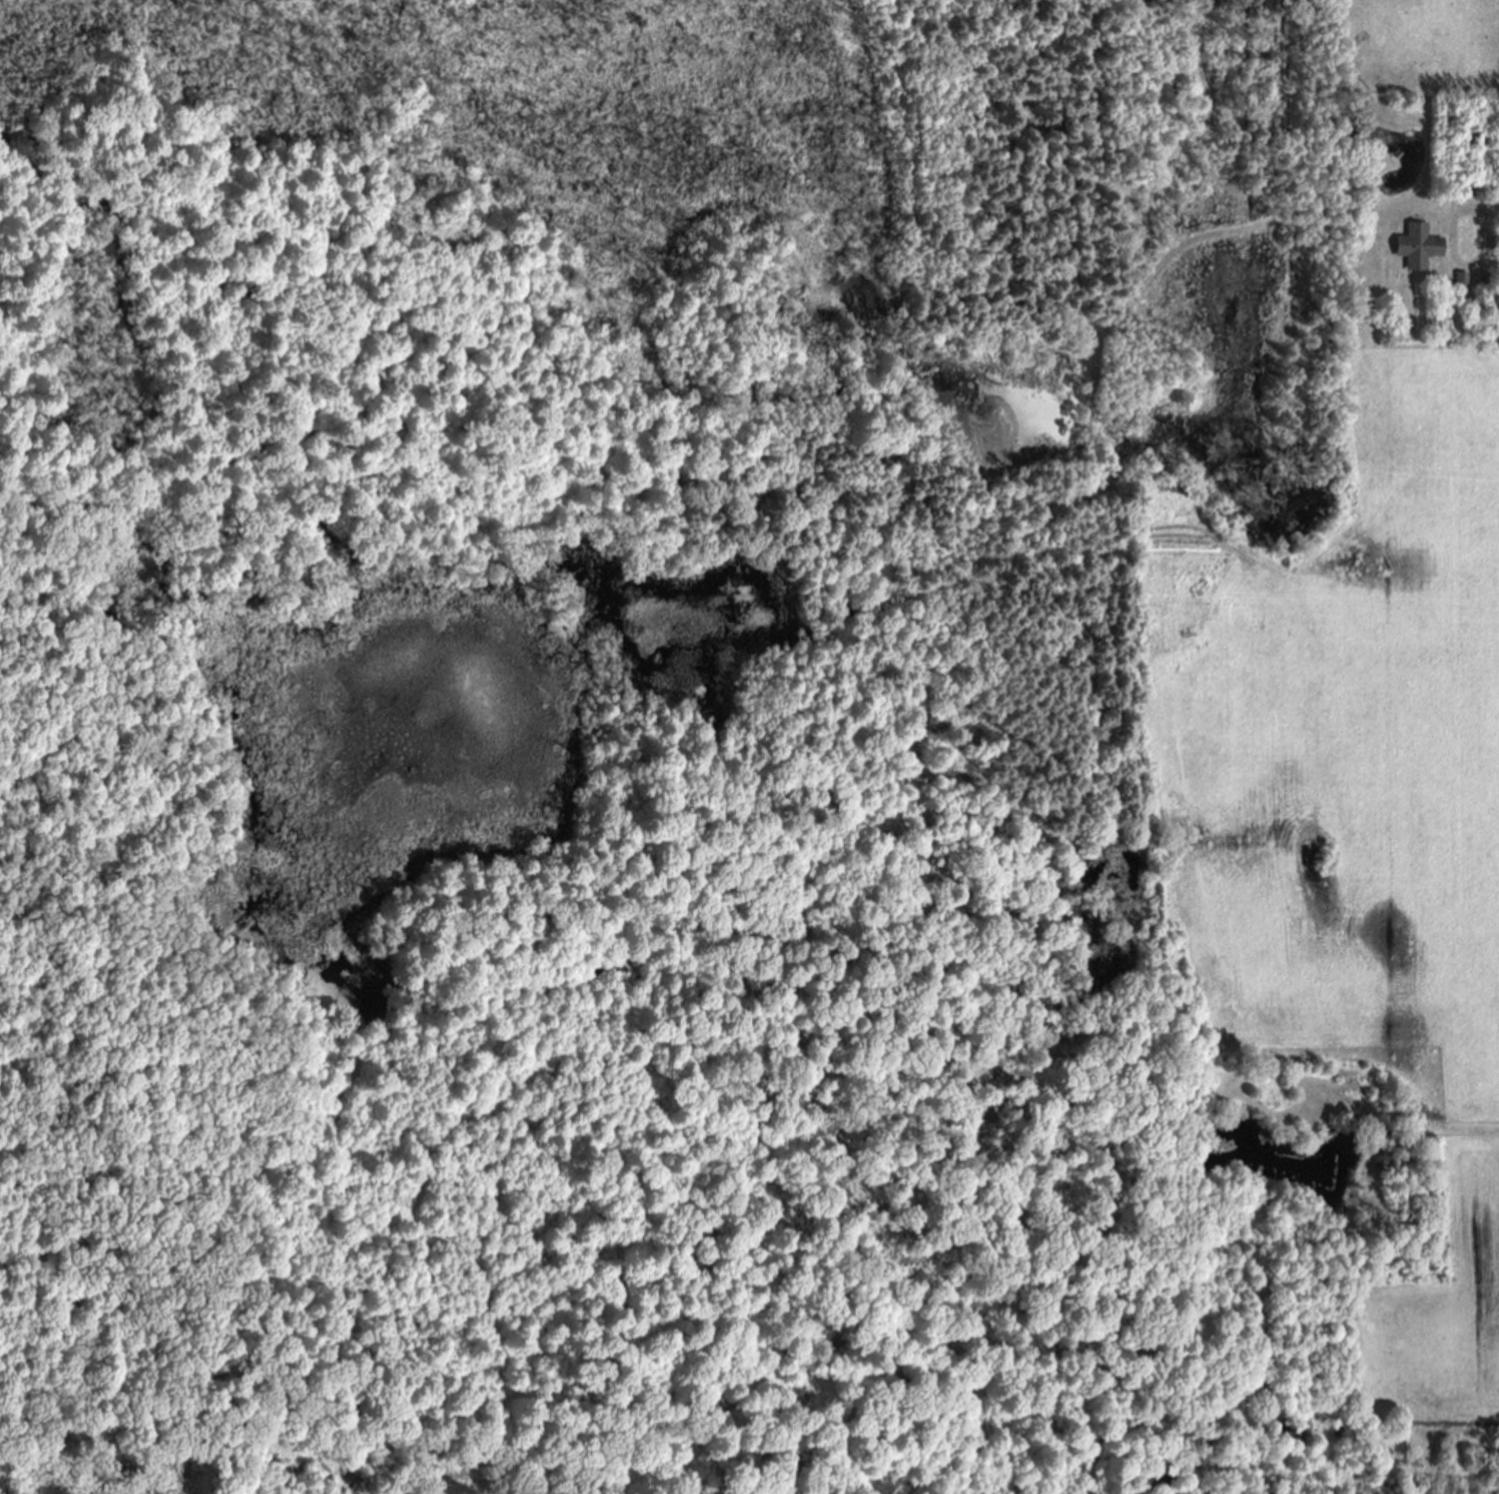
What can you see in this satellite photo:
road: (1477, 208)
building: (1421, 249)

